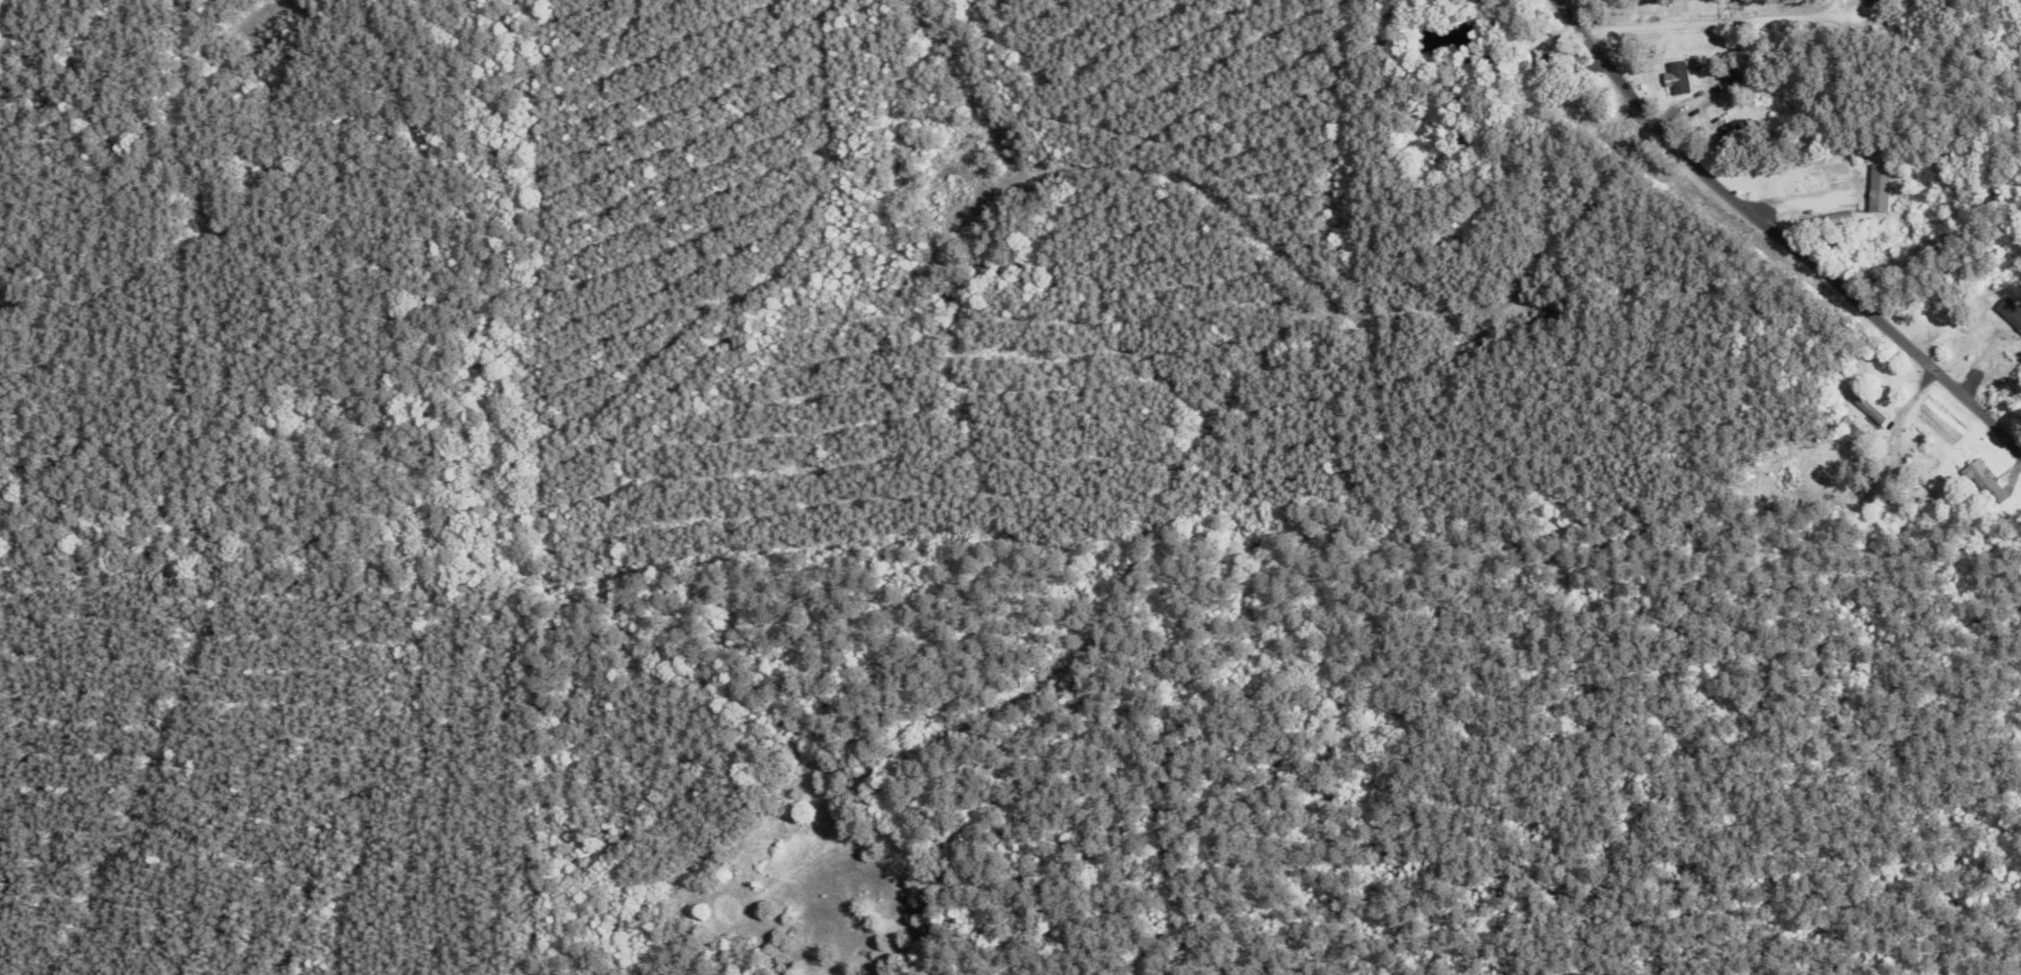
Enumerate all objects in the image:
building: (1866, 4)
road: (1707, 24)
building: (1543, 57)
building: (1734, 131)
building: (1823, 173)
road: (1778, 237)
road: (1915, 290)
building: (1998, 334)
building: (2004, 379)
building: (1864, 408)
building: (1982, 484)

